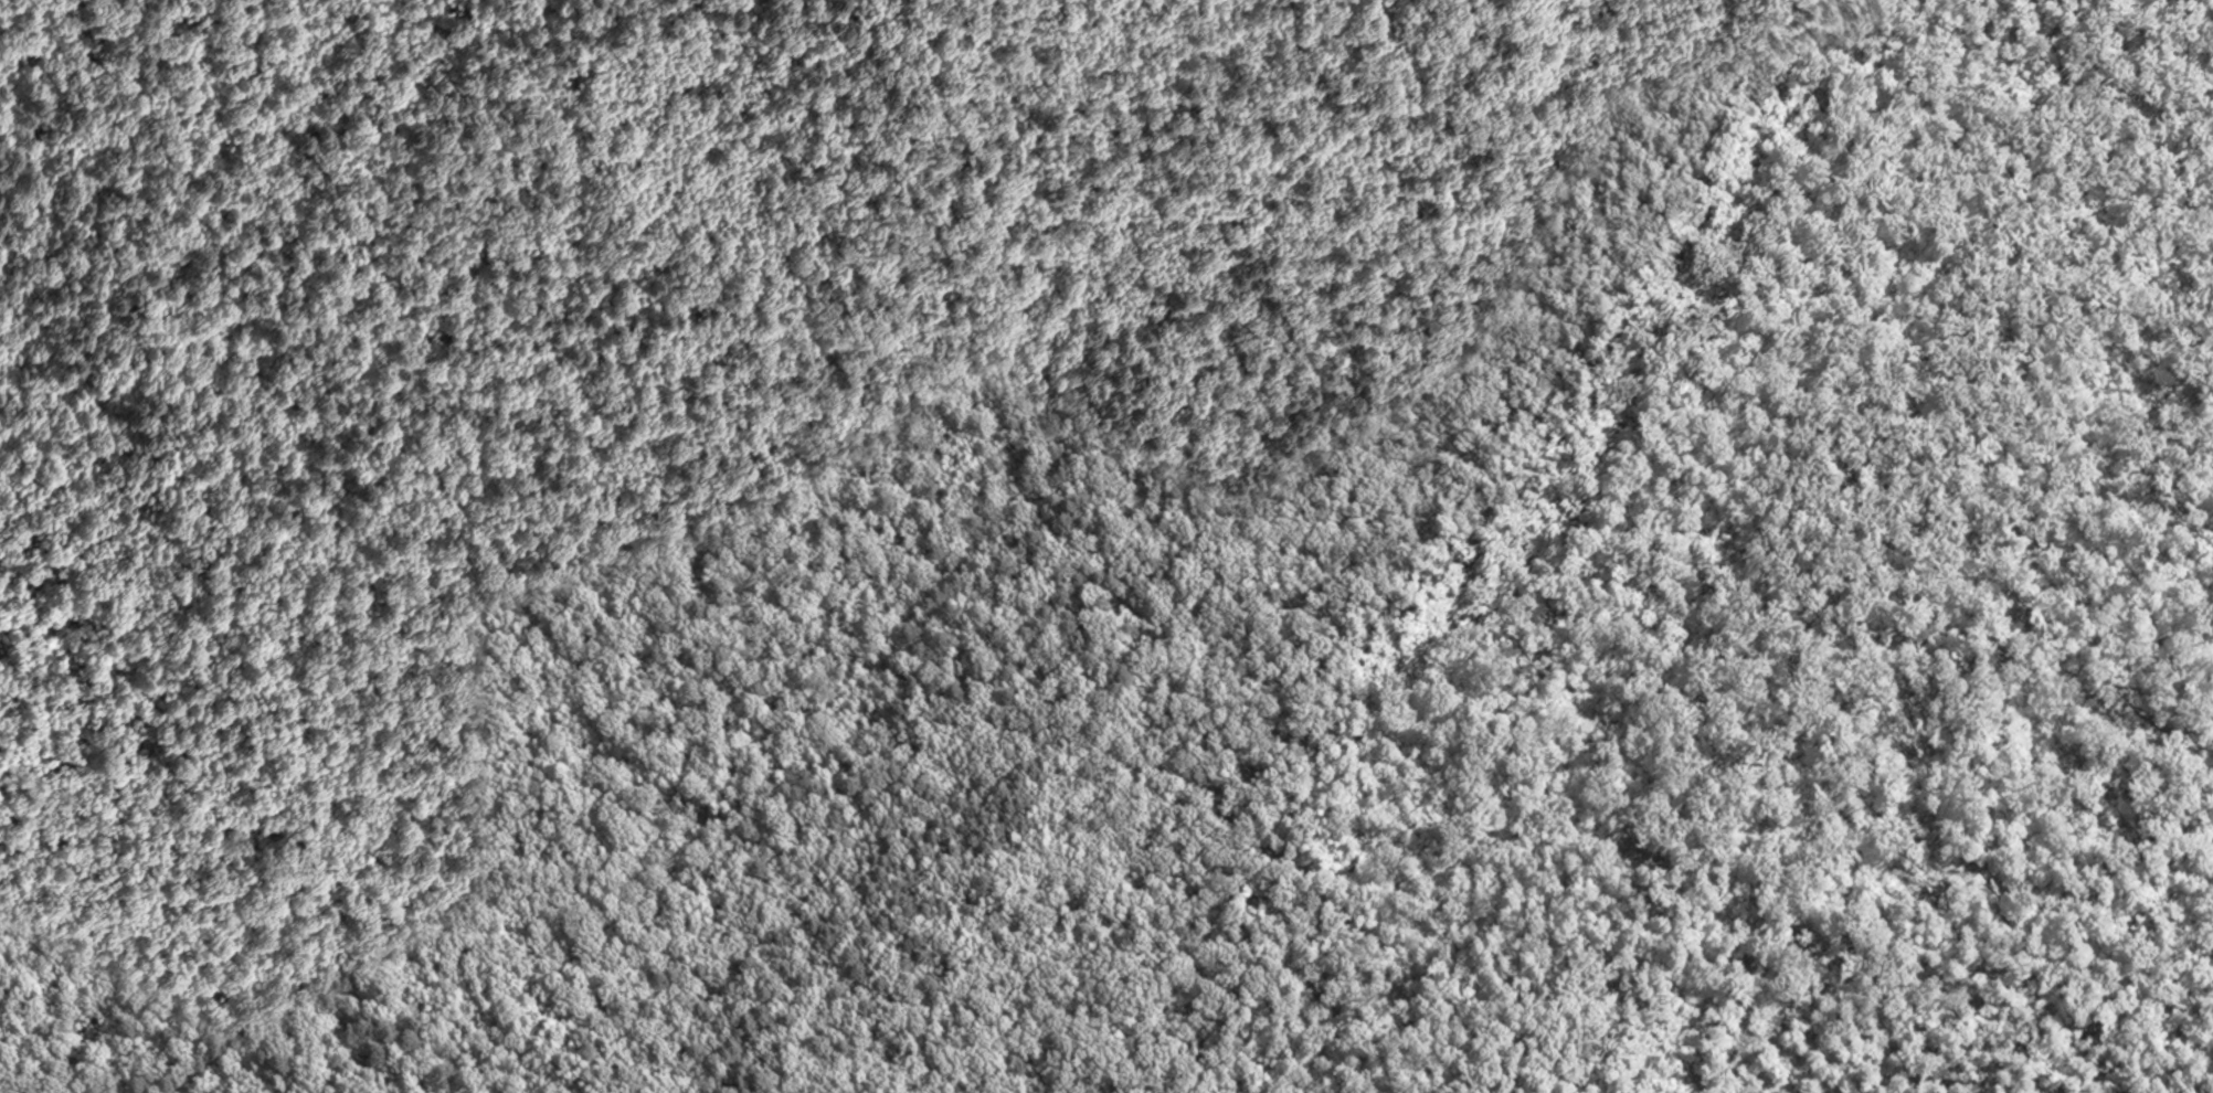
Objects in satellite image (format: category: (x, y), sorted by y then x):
road: (1438, 17)
road: (161, 383)
road: (1460, 529)

